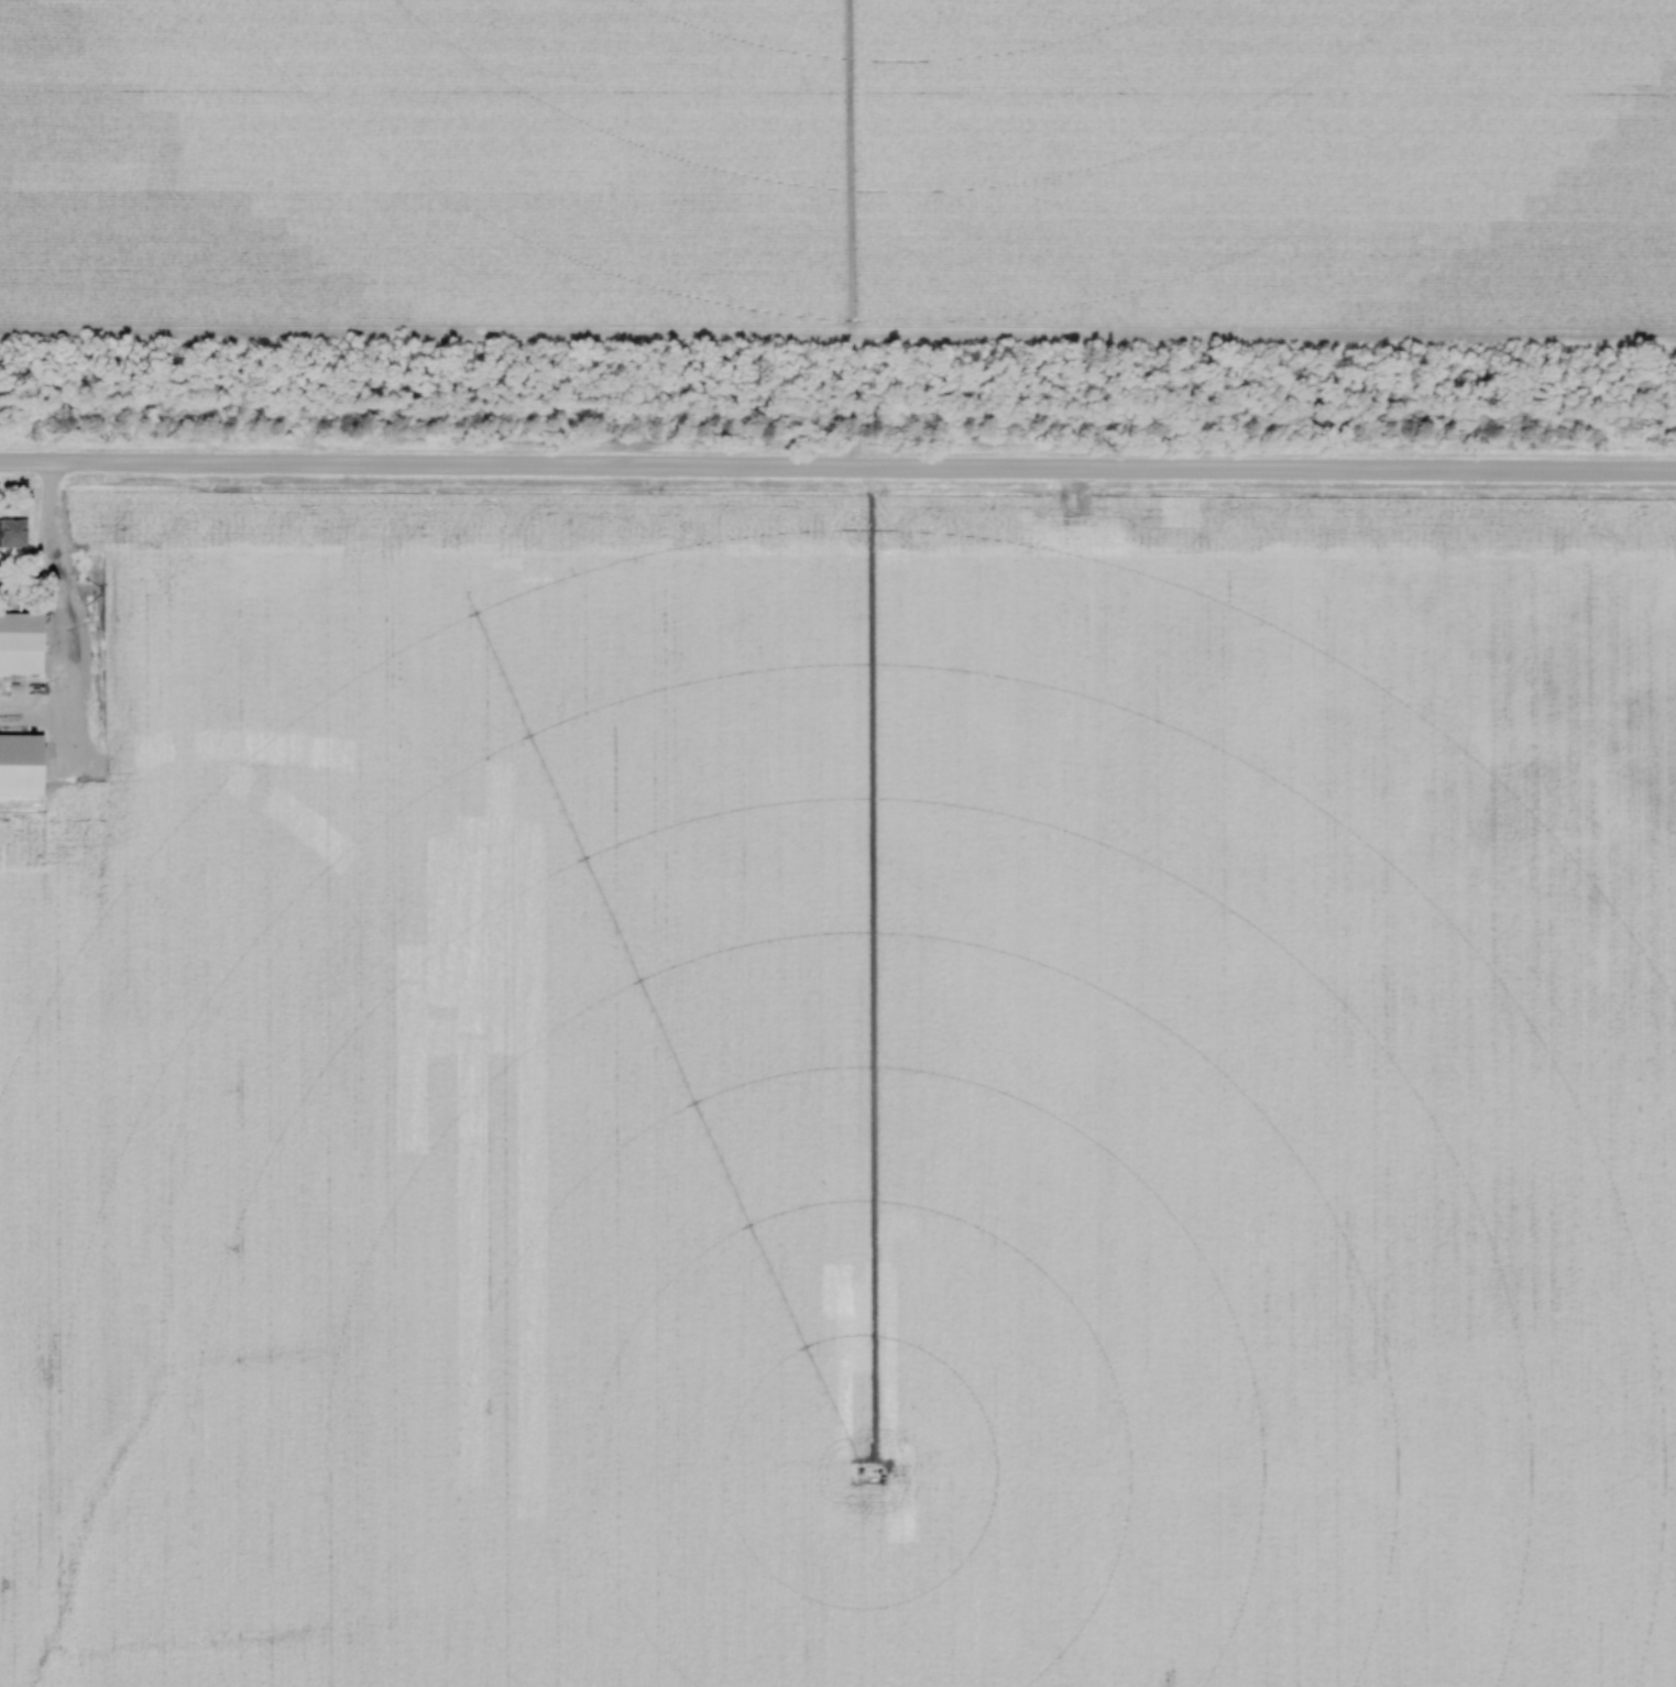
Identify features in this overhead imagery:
road: (837, 474)
building: (11, 533)
building: (20, 644)

